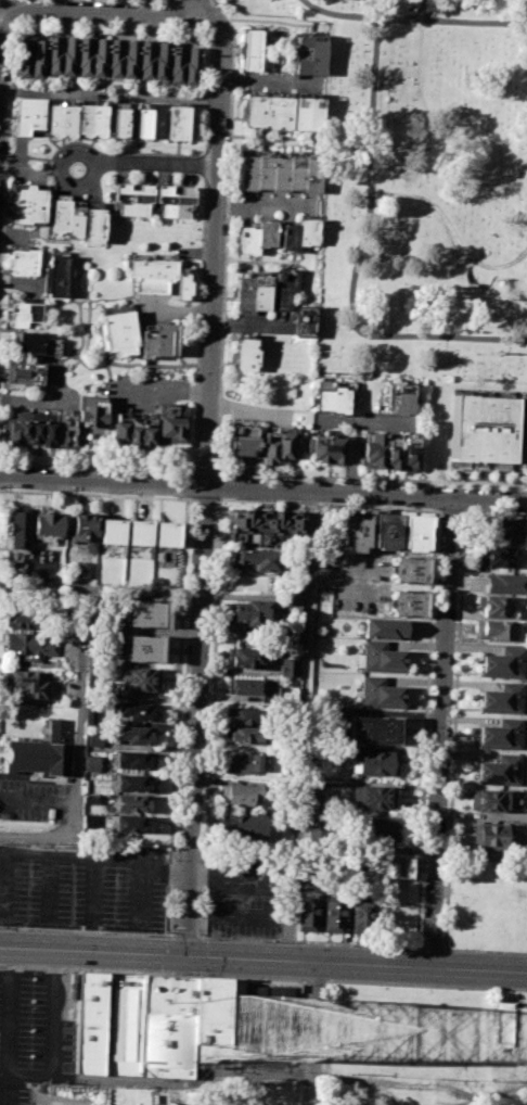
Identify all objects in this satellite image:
road: (201, 8)
road: (425, 10)
road: (107, 11)
road: (1, 17)
road: (413, 20)
street lamp: (105, 21)
street lamp: (14, 23)
building: (250, 50)
building: (61, 54)
building: (308, 54)
building: (91, 55)
building: (29, 56)
building: (121, 58)
building: (153, 60)
building: (182, 65)
road: (270, 81)
building: (268, 112)
building: (27, 113)
building: (307, 113)
building: (61, 118)
building: (91, 118)
building: (119, 119)
building: (143, 120)
building: (177, 120)
street lamp: (8, 134)
road: (147, 165)
building: (278, 173)
park: (421, 187)
building: (132, 198)
building: (173, 200)
building: (27, 202)
road: (266, 208)
building: (66, 216)
building: (93, 224)
road: (453, 230)
building: (298, 234)
building: (256, 237)
street lamp: (3, 249)
road: (216, 252)
road: (356, 257)
building: (22, 261)
building: (55, 274)
building: (151, 275)
building: (183, 283)
building: (283, 287)
building: (261, 289)
building: (242, 290)
building: (24, 314)
building: (303, 320)
road: (248, 325)
building: (117, 331)
building: (158, 341)
building: (36, 344)
building: (244, 355)
building: (24, 373)
road: (165, 389)
building: (332, 397)
building: (399, 397)
building: (91, 411)
road: (365, 422)
building: (171, 423)
building: (41, 428)
building: (133, 429)
building: (481, 432)
building: (242, 436)
building: (280, 444)
building: (325, 447)
building: (410, 450)
building: (381, 452)
road: (354, 457)
street lamp: (223, 471)
street lamp: (362, 481)
street lamp: (475, 486)
road: (263, 488)
road: (95, 493)
road: (204, 498)
street lamp: (290, 501)
street lamp: (191, 503)
road: (327, 507)
road: (450, 511)
street lamp: (524, 511)
road: (493, 513)
street lamp: (438, 515)
building: (266, 522)
building: (47, 524)
building: (18, 528)
building: (83, 530)
building: (355, 530)
building: (505, 530)
building: (385, 531)
building: (111, 532)
building: (139, 532)
building: (414, 533)
building: (165, 534)
building: (497, 555)
street lamp: (459, 556)
building: (257, 557)
street lamp: (214, 560)
building: (79, 569)
building: (410, 570)
building: (506, 581)
road: (43, 586)
building: (293, 586)
building: (408, 602)
building: (293, 606)
building: (497, 606)
street lamp: (185, 611)
building: (249, 612)
building: (147, 614)
street lamp: (434, 615)
building: (18, 621)
building: (385, 626)
building: (496, 630)
building: (70, 640)
building: (29, 646)
building: (143, 648)
building: (247, 658)
building: (382, 658)
building: (504, 663)
building: (287, 668)
street lamp: (454, 674)
building: (141, 678)
street lamp: (208, 678)
building: (28, 683)
building: (246, 686)
road: (81, 690)
building: (380, 693)
building: (503, 699)
building: (134, 711)
building: (90, 715)
street lamp: (180, 716)
building: (245, 716)
road: (195, 721)
road: (299, 725)
street lamp: (429, 726)
building: (374, 731)
road: (439, 732)
building: (132, 734)
building: (245, 734)
building: (500, 735)
building: (93, 739)
building: (41, 750)
building: (131, 760)
building: (245, 762)
building: (375, 763)
building: (500, 771)
street lamp: (204, 773)
street lamp: (449, 773)
building: (133, 784)
building: (239, 795)
building: (373, 798)
building: (91, 799)
building: (488, 800)
parking lot: (34, 801)
building: (130, 803)
building: (313, 803)
building: (89, 820)
building: (129, 824)
building: (243, 825)
street lamp: (176, 826)
building: (317, 829)
building: (385, 829)
street lamp: (425, 834)
building: (492, 835)
road: (95, 859)
street lamp: (176, 859)
street lamp: (200, 861)
building: (398, 867)
parking lot: (82, 887)
parking lot: (252, 896)
street lamp: (444, 901)
road: (91, 904)
building: (361, 914)
building: (307, 915)
building: (332, 916)
road: (16, 917)
street lamp: (171, 927)
street lamp: (197, 928)
street lamp: (42, 929)
road: (86, 929)
street lamp: (420, 933)
street lamp: (144, 935)
road: (183, 935)
street lamp: (265, 940)
street lamp: (260, 941)
road: (306, 941)
street lamp: (352, 945)
street lamp: (373, 947)
road: (428, 948)
road: (484, 950)
street lamp: (485, 951)
street lamp: (488, 952)
traffic signals: (185, 956)
road: (263, 960)
street lamp: (34, 971)
road: (152, 973)
road: (314, 980)
street lamp: (305, 985)
road: (426, 985)
building: (145, 1023)
building: (502, 1024)
road: (10, 1026)
building: (519, 1026)
parking lot: (33, 1030)
road: (313, 1033)
road: (53, 1034)

